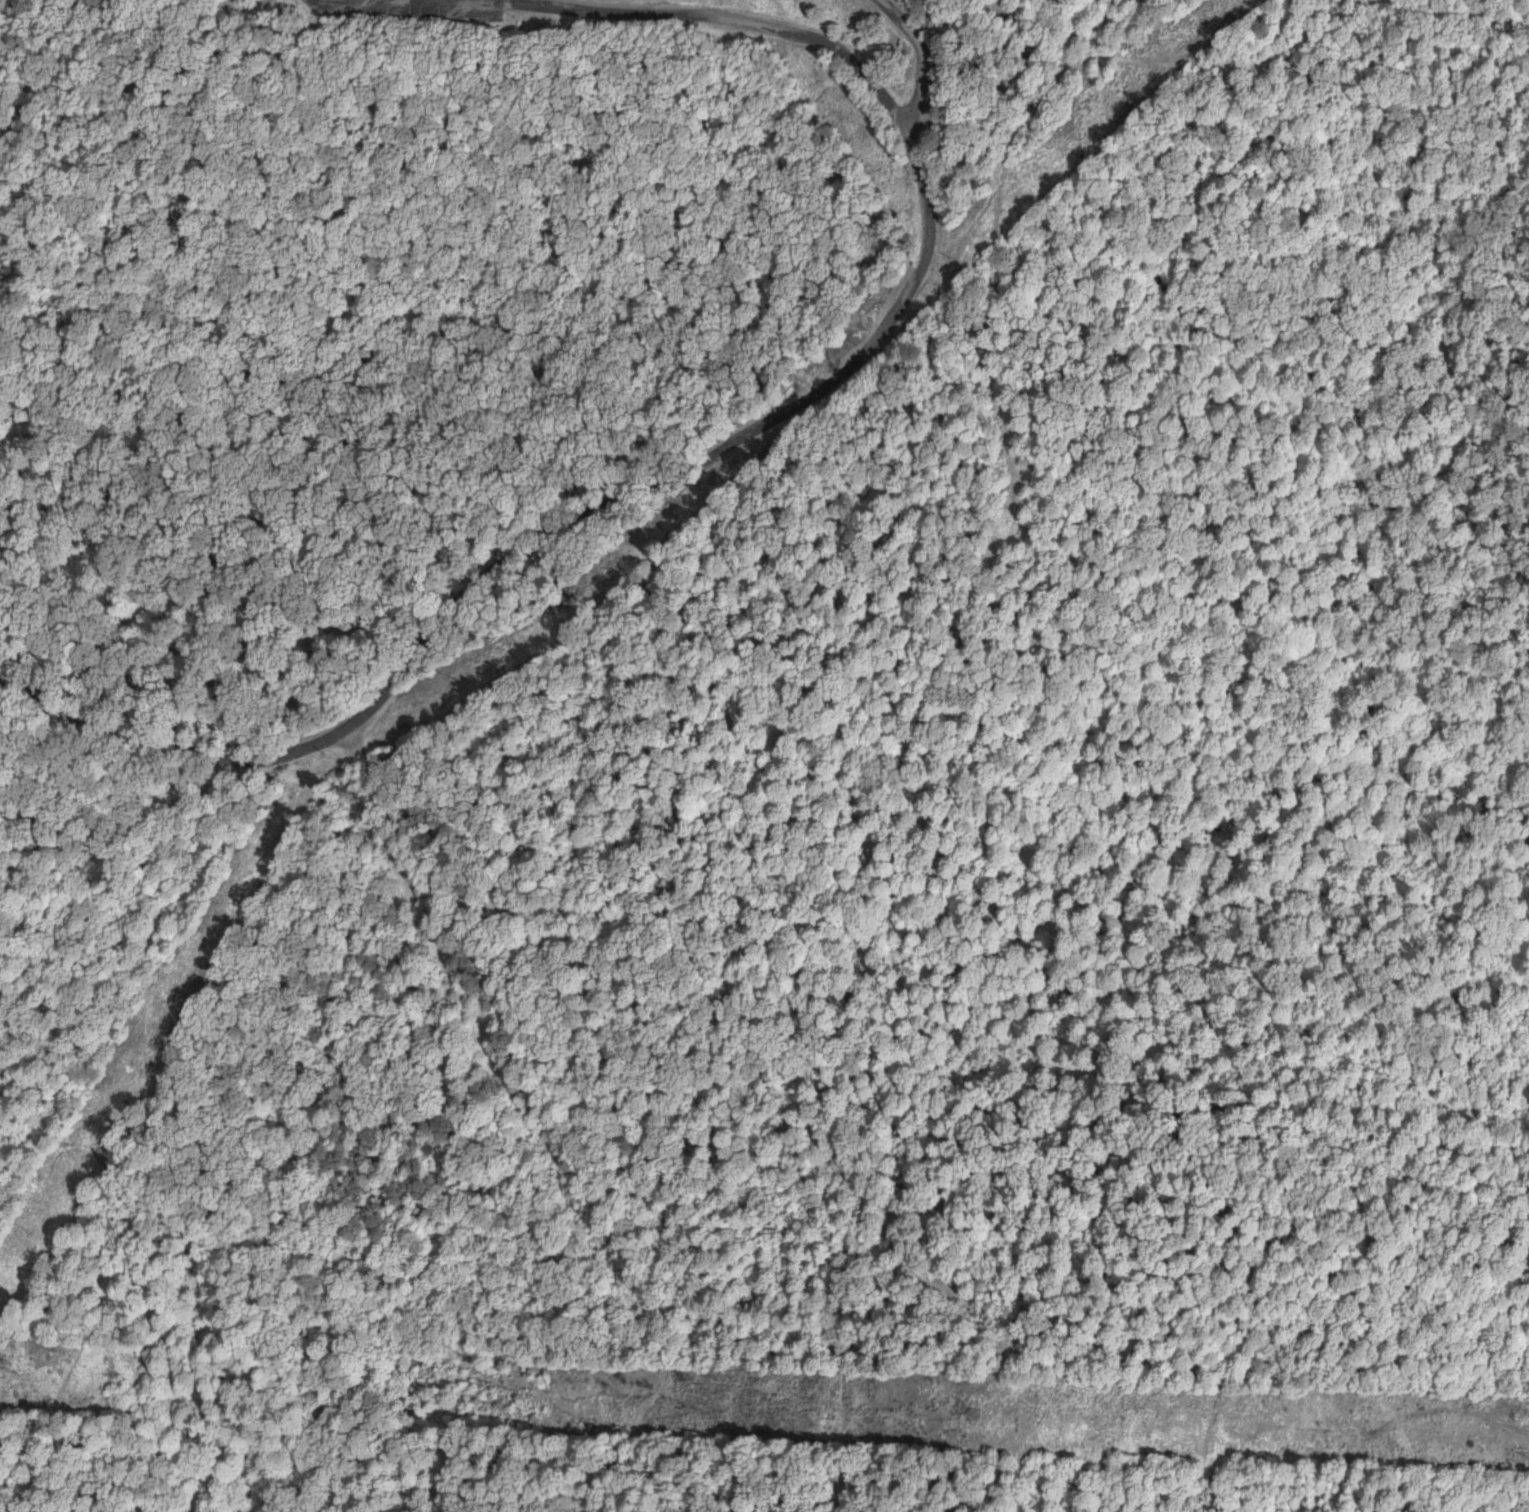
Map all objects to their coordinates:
road: (654, 10)
road: (932, 62)
road: (604, 359)
road: (529, 539)

